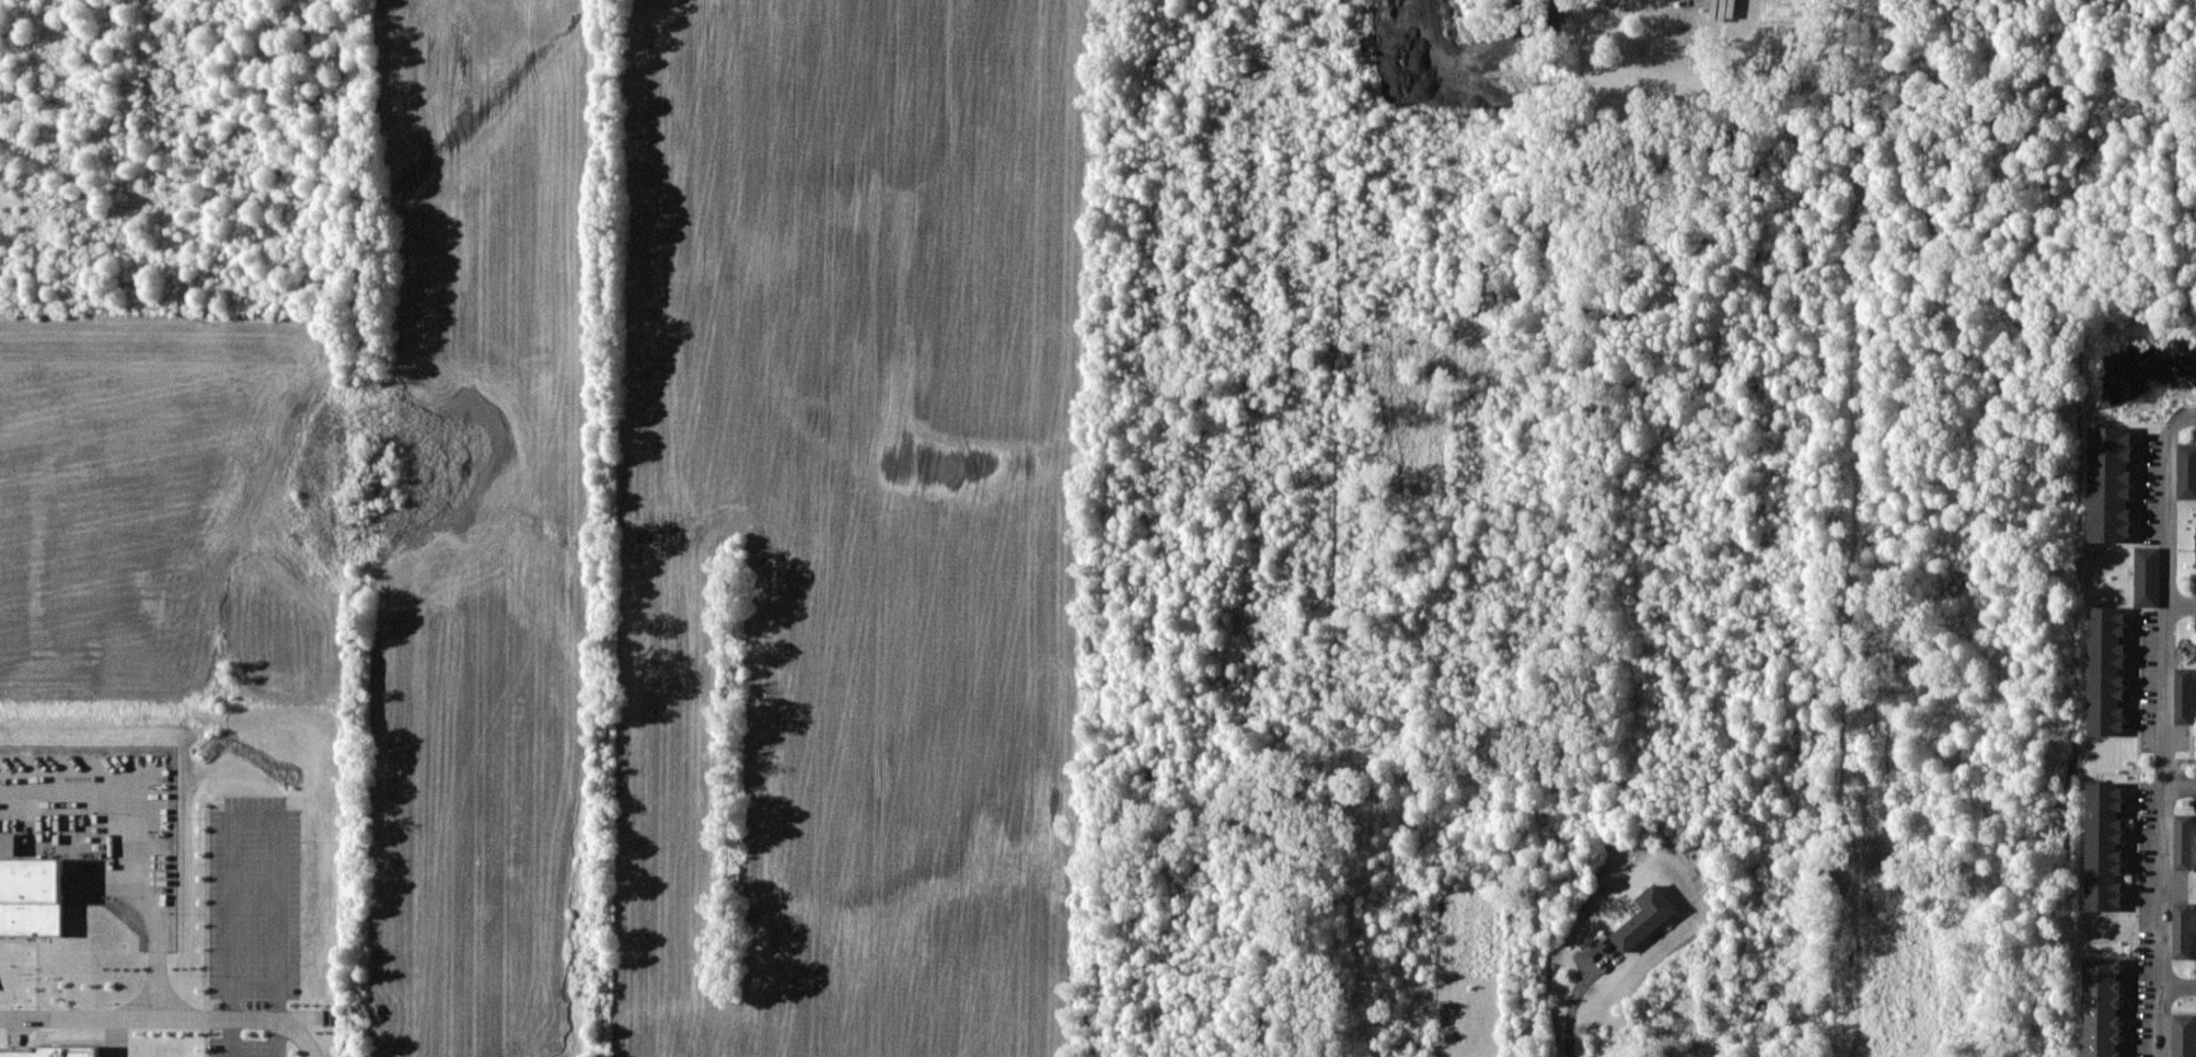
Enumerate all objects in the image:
building: (2186, 469)
building: (2110, 484)
building: (2147, 576)
road: (2182, 602)
building: (2106, 671)
building: (2183, 695)
road: (2164, 729)
road: (2180, 785)
road: (254, 820)
building: (2183, 841)
building: (8, 843)
building: (2104, 845)
road: (136, 848)
building: (31, 895)
building: (1645, 917)
building: (2182, 930)
road: (2178, 985)
building: (2102, 1007)
road: (1570, 1008)
road: (166, 1017)
building: (2183, 1034)
building: (53, 1052)

